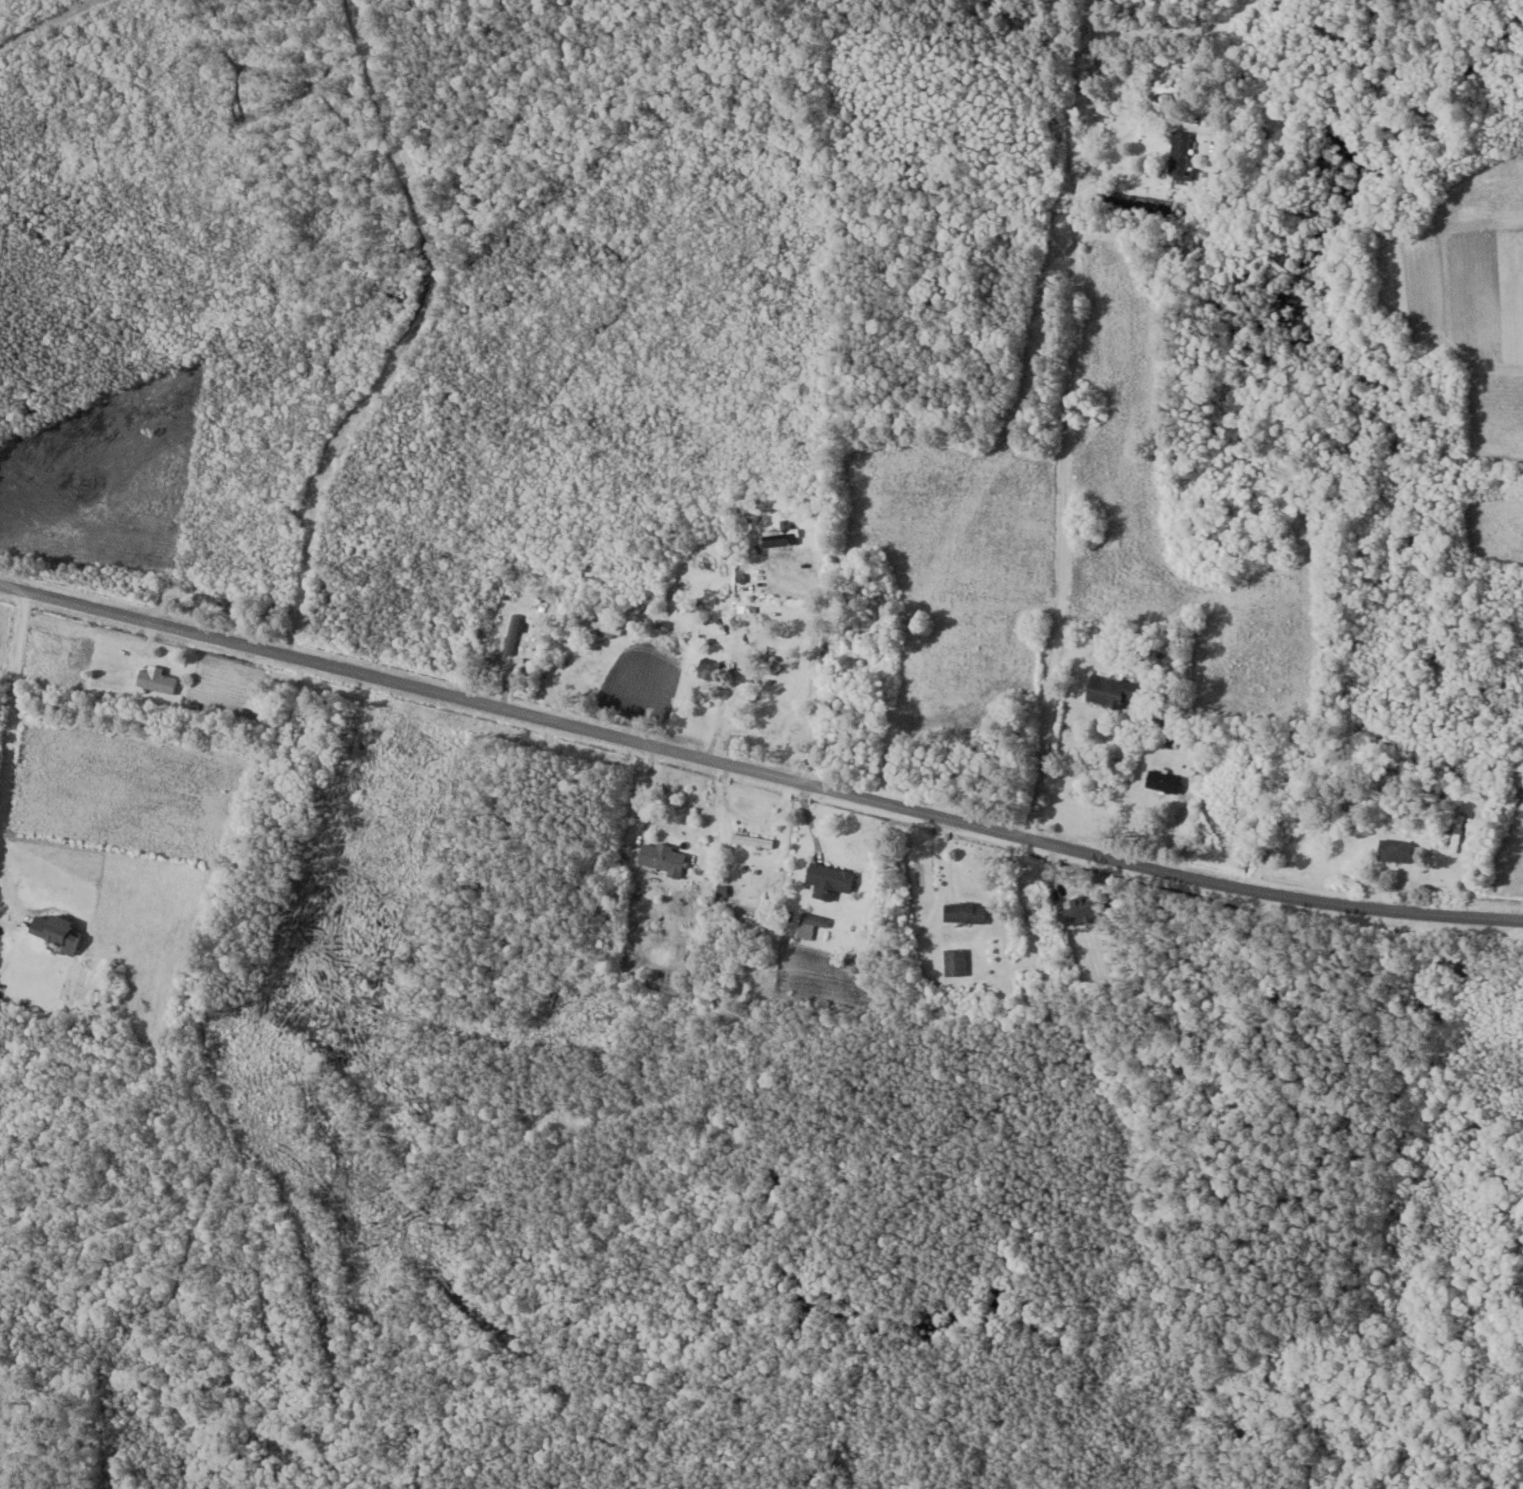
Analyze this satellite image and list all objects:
road: (1080, 119)
road: (1117, 139)
building: (1179, 156)
building: (778, 536)
road: (1073, 540)
building: (207, 597)
building: (513, 633)
road: (814, 665)
building: (708, 668)
building: (156, 680)
building: (1114, 690)
road: (13, 691)
road: (758, 771)
building: (1163, 781)
building: (752, 839)
building: (1395, 850)
building: (661, 857)
building: (828, 880)
building: (1083, 908)
road: (8, 911)
building: (965, 912)
building: (810, 924)
building: (54, 932)
building: (955, 962)

